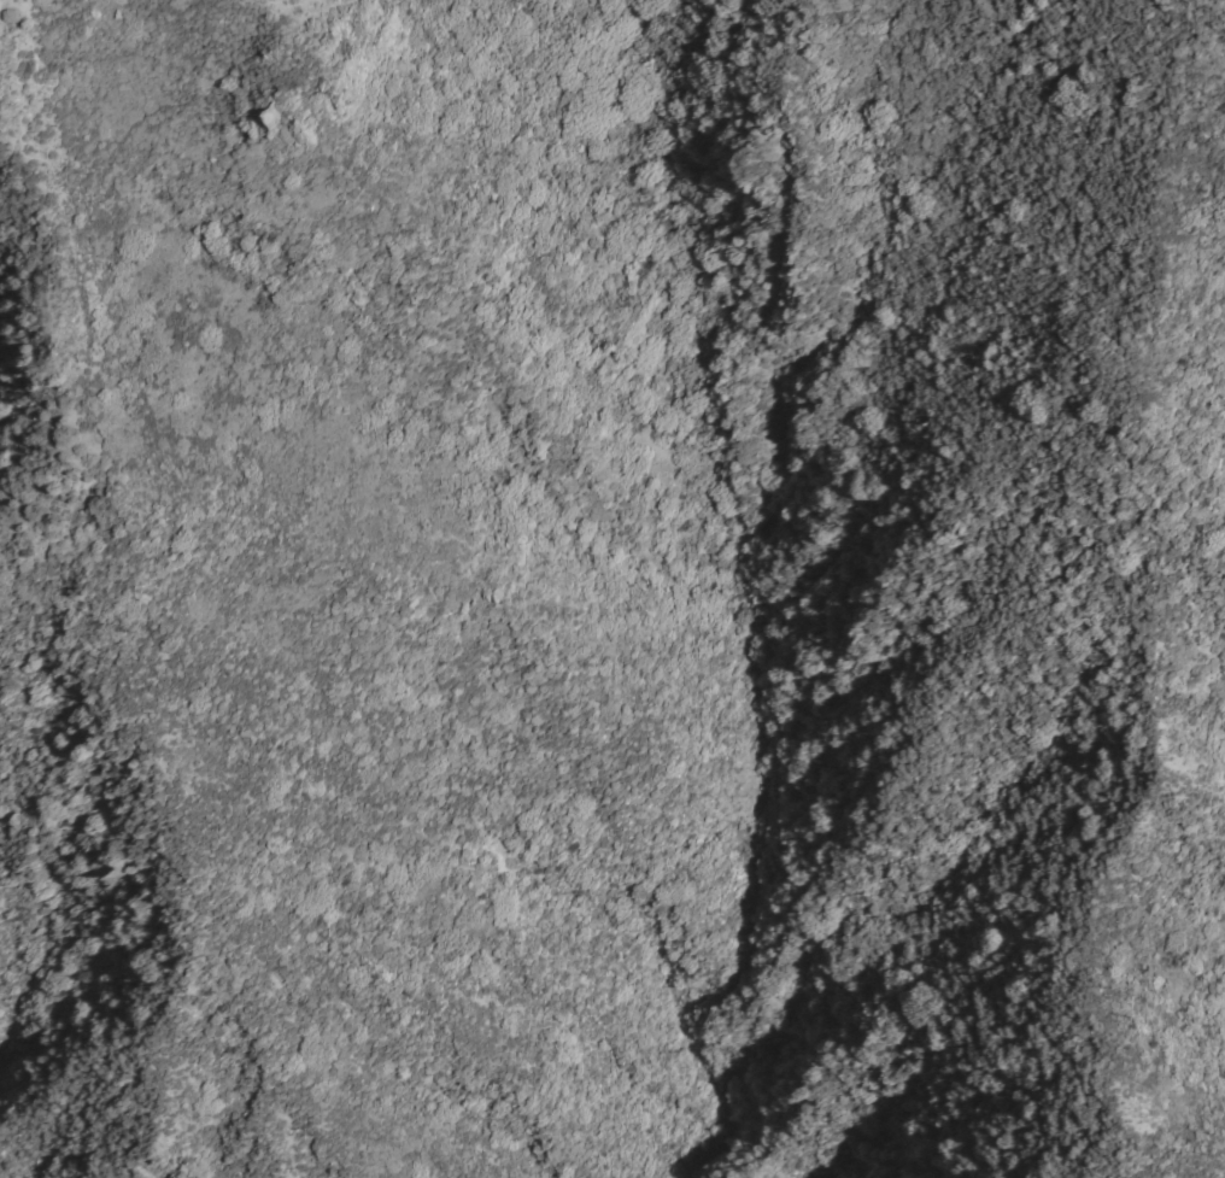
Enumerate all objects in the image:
road: (2, 1)
road: (8, 2)
road: (59, 317)

